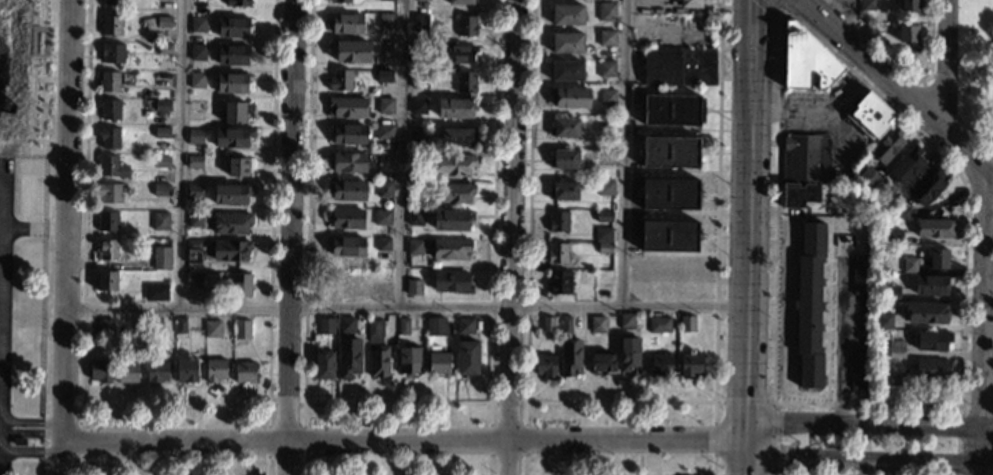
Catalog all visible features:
building: (386, 0)
building: (422, 0)
traffic signals: (751, 0)
building: (338, 1)
building: (462, 1)
building: (112, 2)
building: (237, 3)
building: (690, 4)
building: (866, 5)
building: (910, 5)
road: (780, 8)
road: (12, 9)
building: (605, 11)
road: (44, 12)
building: (566, 15)
road: (848, 16)
building: (419, 19)
building: (163, 21)
building: (385, 21)
building: (346, 23)
building: (197, 24)
building: (111, 25)
building: (466, 26)
building: (232, 27)
building: (876, 28)
building: (908, 34)
building: (606, 38)
building: (566, 42)
building: (164, 48)
building: (385, 49)
building: (419, 50)
building: (197, 52)
building: (352, 52)
building: (112, 53)
road: (969, 53)
building: (458, 54)
building: (231, 55)
road: (48, 56)
building: (807, 60)
road: (944, 65)
building: (194, 66)
building: (679, 67)
building: (605, 68)
building: (565, 70)
park: (975, 70)
building: (384, 76)
building: (196, 80)
building: (340, 80)
building: (109, 81)
building: (465, 82)
building: (231, 83)
road: (898, 87)
building: (568, 97)
building: (606, 97)
building: (161, 105)
building: (195, 105)
building: (385, 106)
building: (418, 106)
building: (346, 107)
building: (456, 108)
road: (32, 109)
building: (110, 109)
building: (670, 110)
building: (233, 111)
building: (870, 117)
building: (564, 127)
building: (383, 131)
building: (161, 132)
building: (348, 134)
building: (418, 134)
building: (109, 136)
building: (195, 136)
building: (233, 137)
building: (456, 137)
building: (887, 146)
building: (670, 152)
road: (179, 154)
road: (401, 154)
road: (623, 154)
building: (807, 157)
building: (602, 158)
building: (563, 159)
building: (160, 161)
building: (194, 162)
building: (348, 162)
building: (453, 165)
building: (907, 166)
building: (111, 167)
building: (237, 167)
building: (868, 178)
road: (3, 180)
building: (417, 187)
building: (604, 187)
building: (927, 187)
building: (160, 189)
building: (384, 189)
building: (347, 190)
building: (193, 191)
building: (562, 191)
building: (110, 193)
building: (230, 193)
building: (455, 193)
building: (668, 193)
building: (799, 195)
building: (900, 212)
building: (602, 216)
building: (382, 217)
building: (415, 217)
building: (345, 218)
building: (194, 219)
building: (451, 220)
building: (107, 221)
building: (556, 221)
road: (2, 222)
building: (160, 222)
building: (230, 223)
building: (935, 228)
road: (35, 230)
building: (601, 233)
building: (668, 235)
road: (64, 237)
road: (290, 237)
road: (511, 237)
road: (747, 237)
building: (893, 237)
building: (346, 245)
building: (415, 247)
building: (604, 247)
building: (107, 249)
building: (383, 249)
building: (451, 249)
building: (231, 250)
building: (193, 251)
building: (555, 253)
parking lot: (5, 255)
building: (160, 259)
building: (939, 259)
road: (2, 262)
building: (909, 265)
building: (860, 274)
building: (193, 279)
building: (106, 280)
building: (558, 281)
building: (451, 282)
building: (240, 284)
building: (932, 284)
building: (413, 287)
building: (156, 293)
building: (891, 293)
road: (4, 301)
road: (2, 305)
building: (809, 305)
road: (405, 309)
building: (927, 313)
building: (625, 320)
building: (884, 321)
road: (983, 322)
building: (546, 323)
building: (565, 324)
building: (596, 324)
building: (658, 324)
building: (686, 324)
building: (156, 325)
building: (325, 325)
building: (346, 325)
building: (464, 325)
building: (180, 326)
building: (106, 327)
building: (403, 327)
building: (435, 327)
building: (212, 328)
building: (241, 329)
building: (374, 331)
road: (842, 336)
building: (932, 340)
road: (1, 348)
building: (896, 349)
building: (629, 356)
building: (348, 357)
building: (467, 357)
building: (569, 358)
building: (438, 359)
building: (408, 360)
building: (378, 362)
building: (324, 364)
building: (601, 364)
building: (544, 365)
building: (660, 365)
building: (690, 365)
building: (185, 368)
building: (931, 369)
building: (99, 370)
building: (215, 370)
building: (858, 370)
building: (127, 372)
building: (157, 372)
building: (244, 372)
building: (895, 381)
building: (12, 395)
road: (743, 401)
road: (396, 402)
road: (507, 402)
road: (618, 402)
road: (173, 404)
road: (286, 404)
road: (81, 416)
road: (27, 421)
road: (868, 422)
road: (29, 433)
road: (403, 440)
road: (81, 442)
road: (0, 451)
road: (30, 452)
road: (868, 457)
road: (80, 466)
road: (860, 466)

